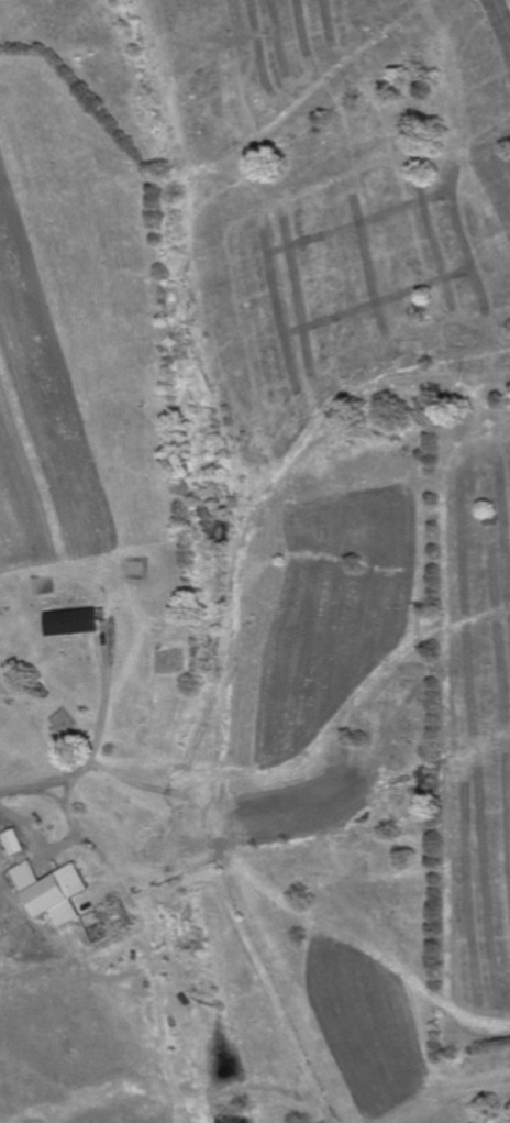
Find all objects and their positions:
building: (69, 623)
road: (96, 744)
building: (14, 843)
building: (53, 892)

